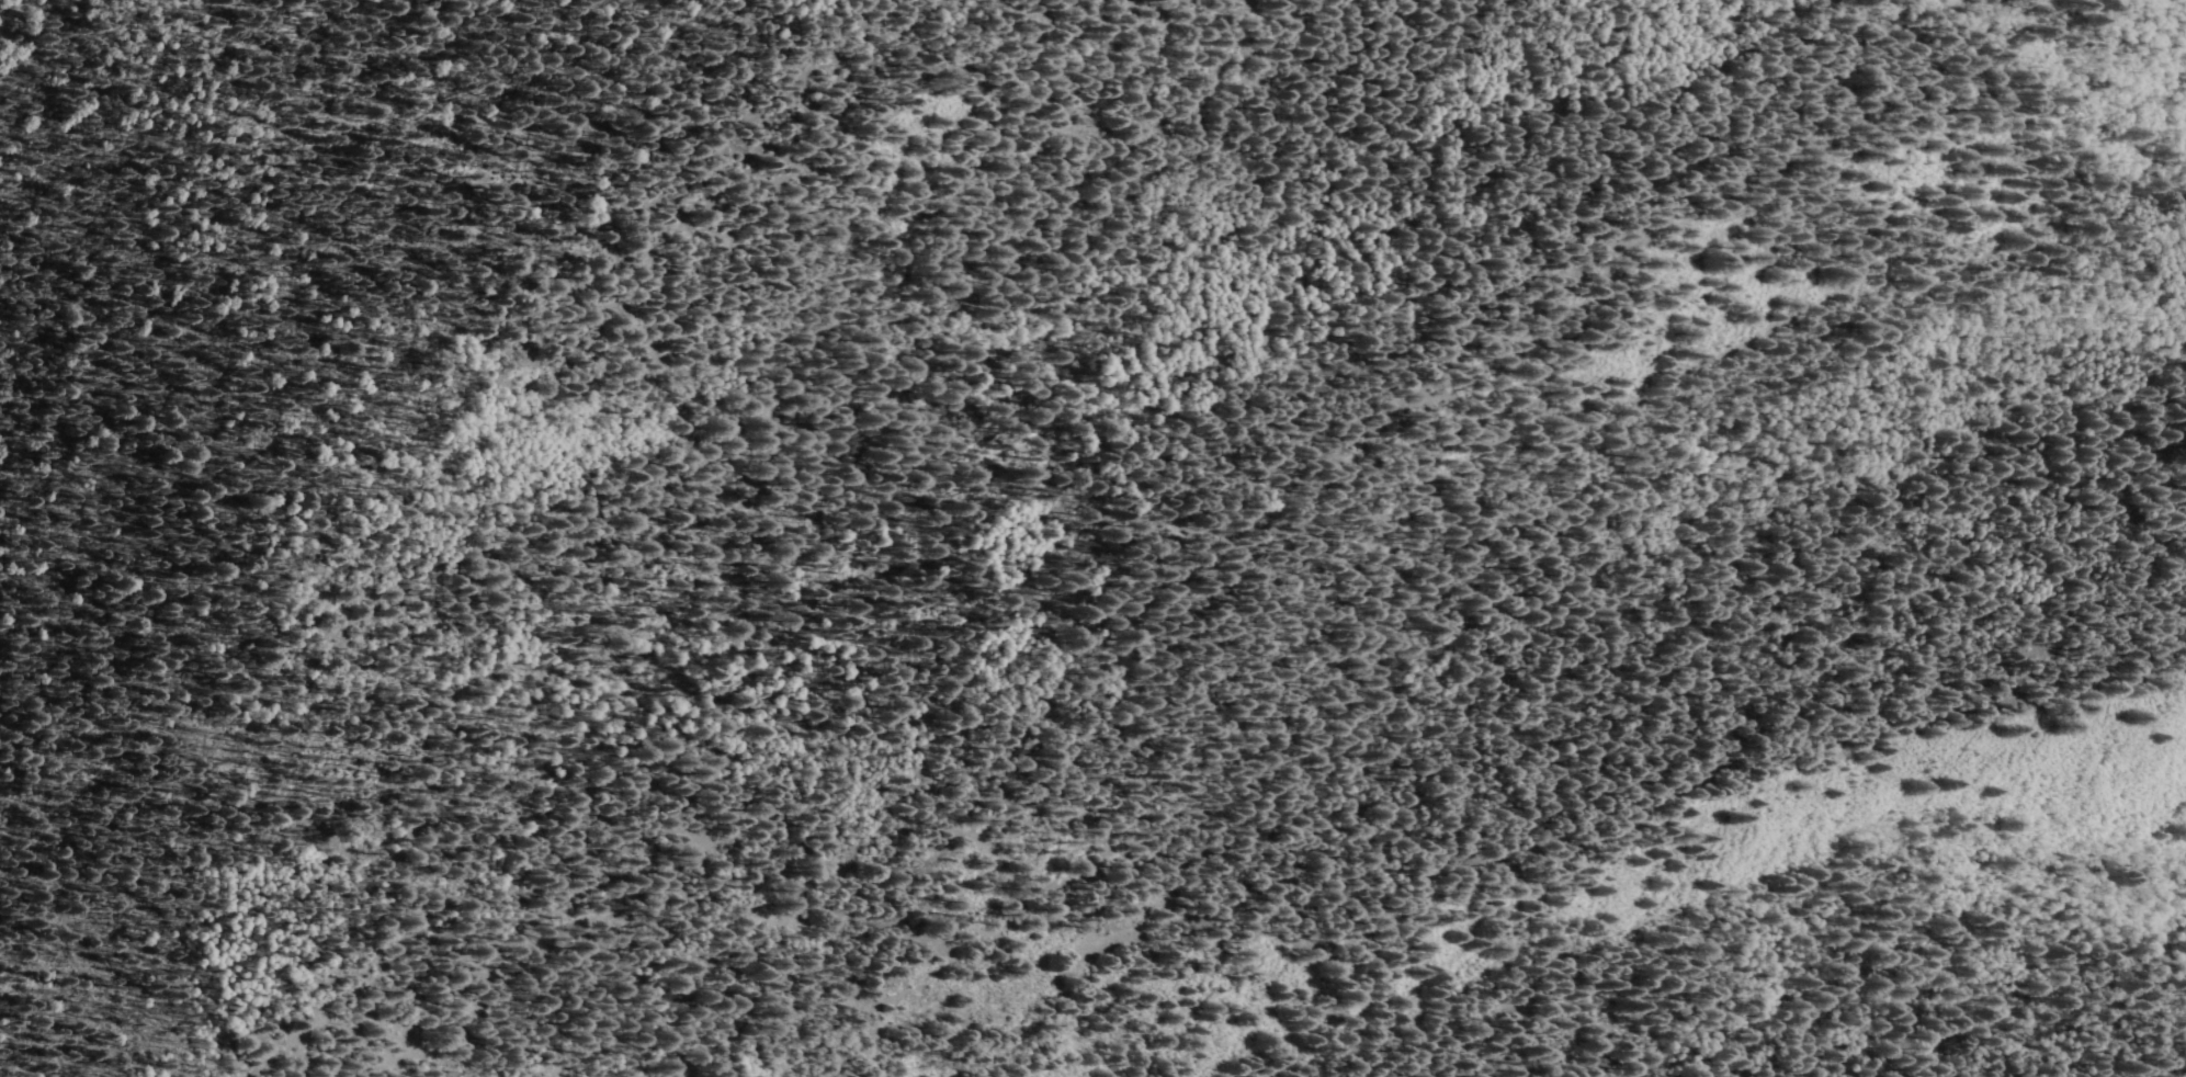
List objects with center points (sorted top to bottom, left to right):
road: (24, 45)
road: (1264, 475)
road: (2081, 998)

